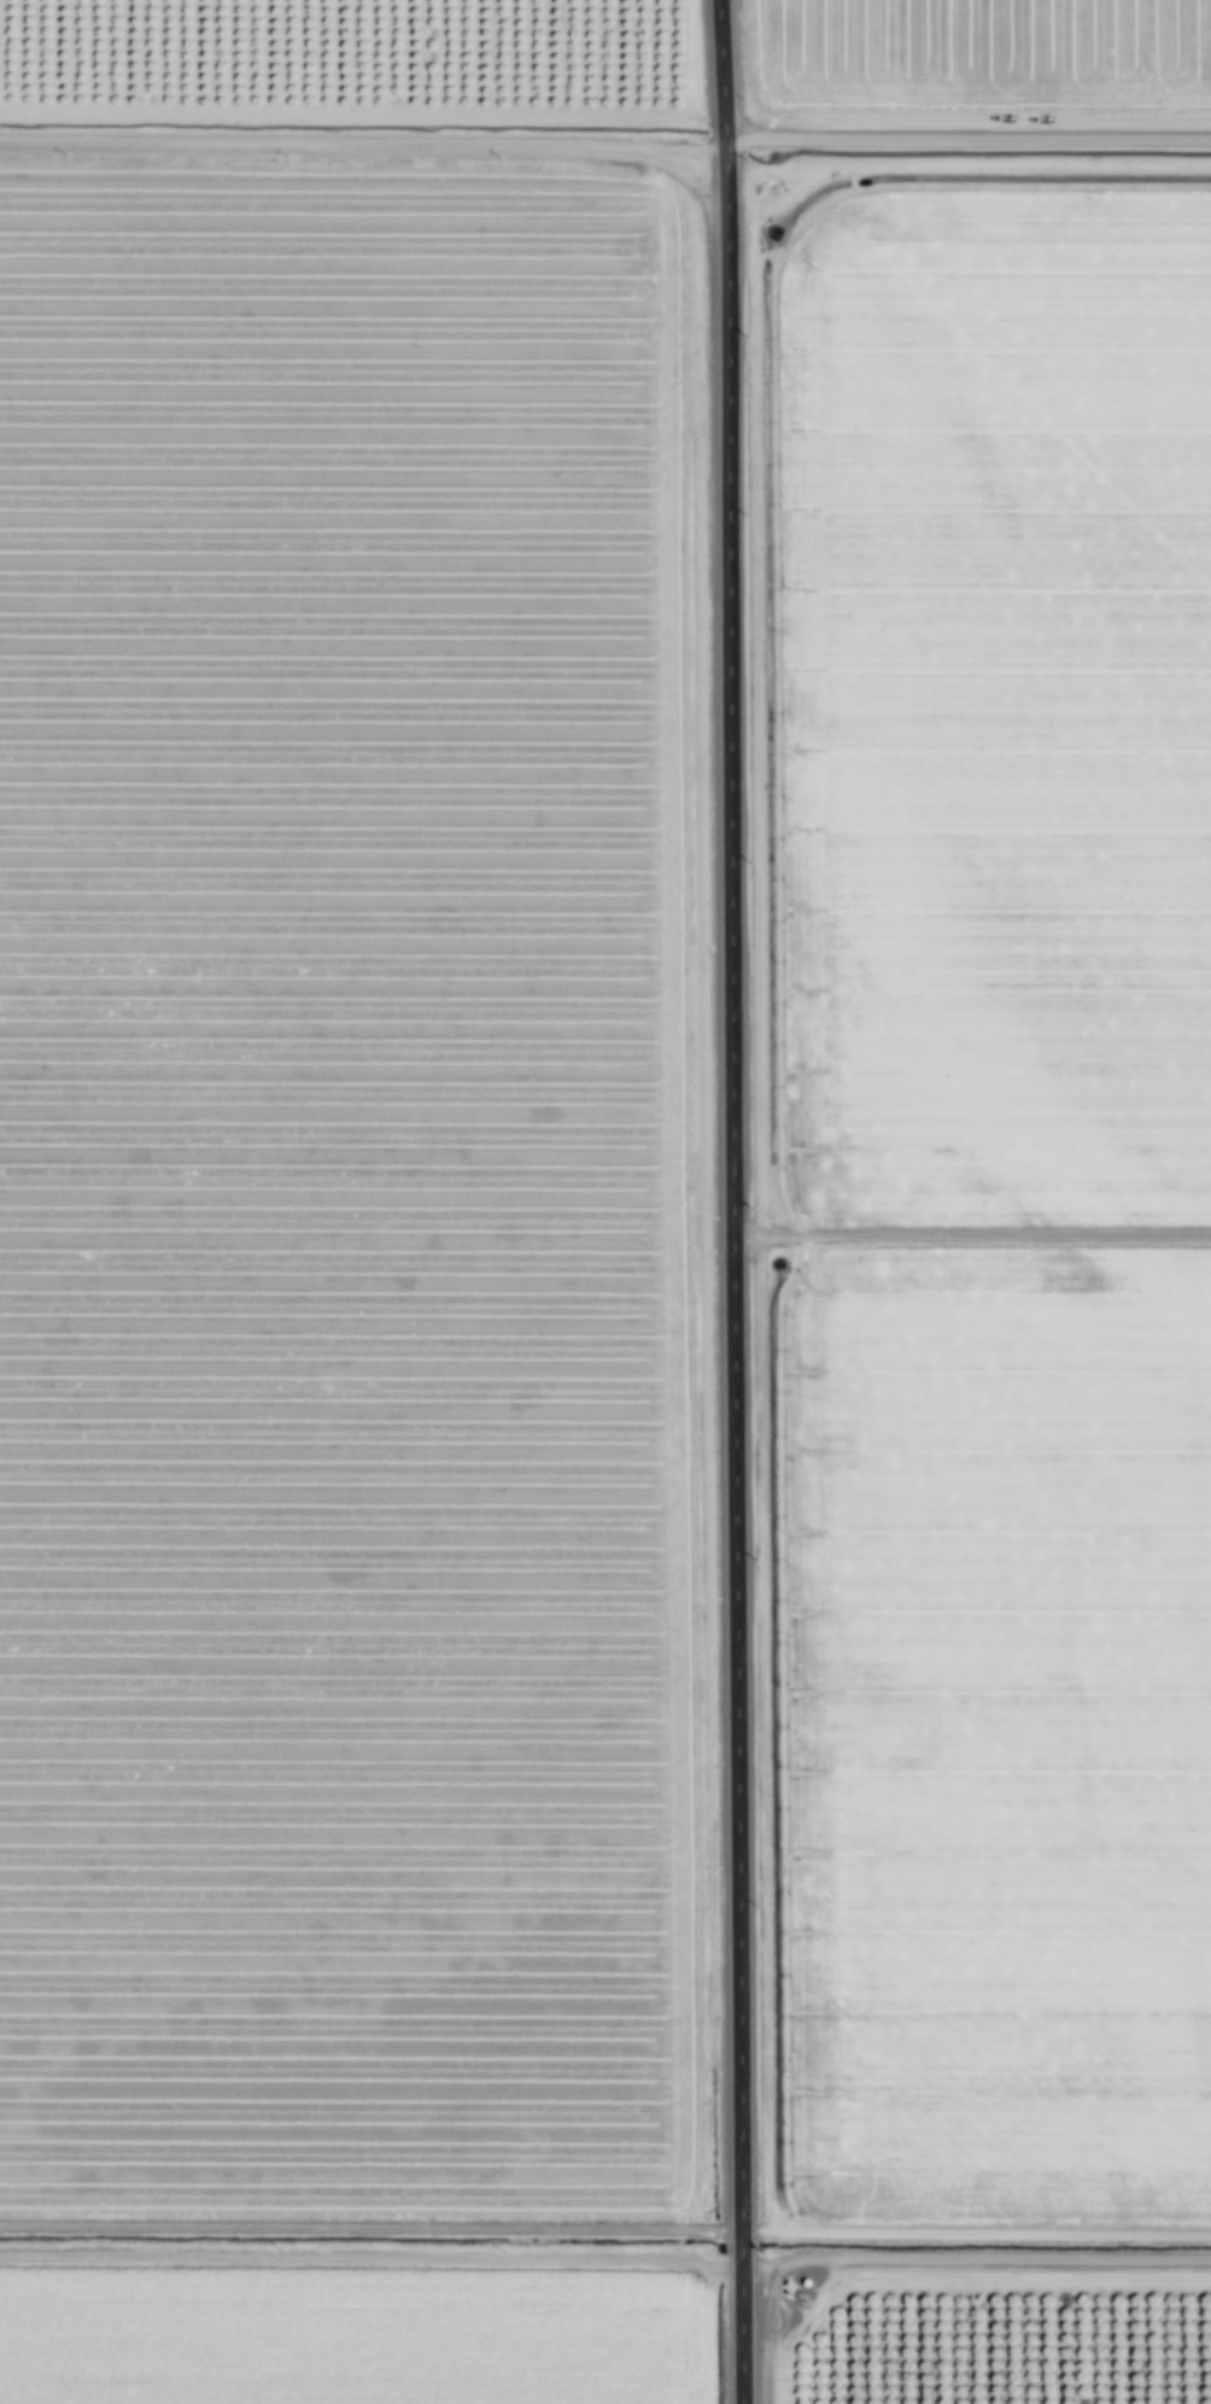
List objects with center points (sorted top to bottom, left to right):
road: (605, 146)
road: (741, 1201)

